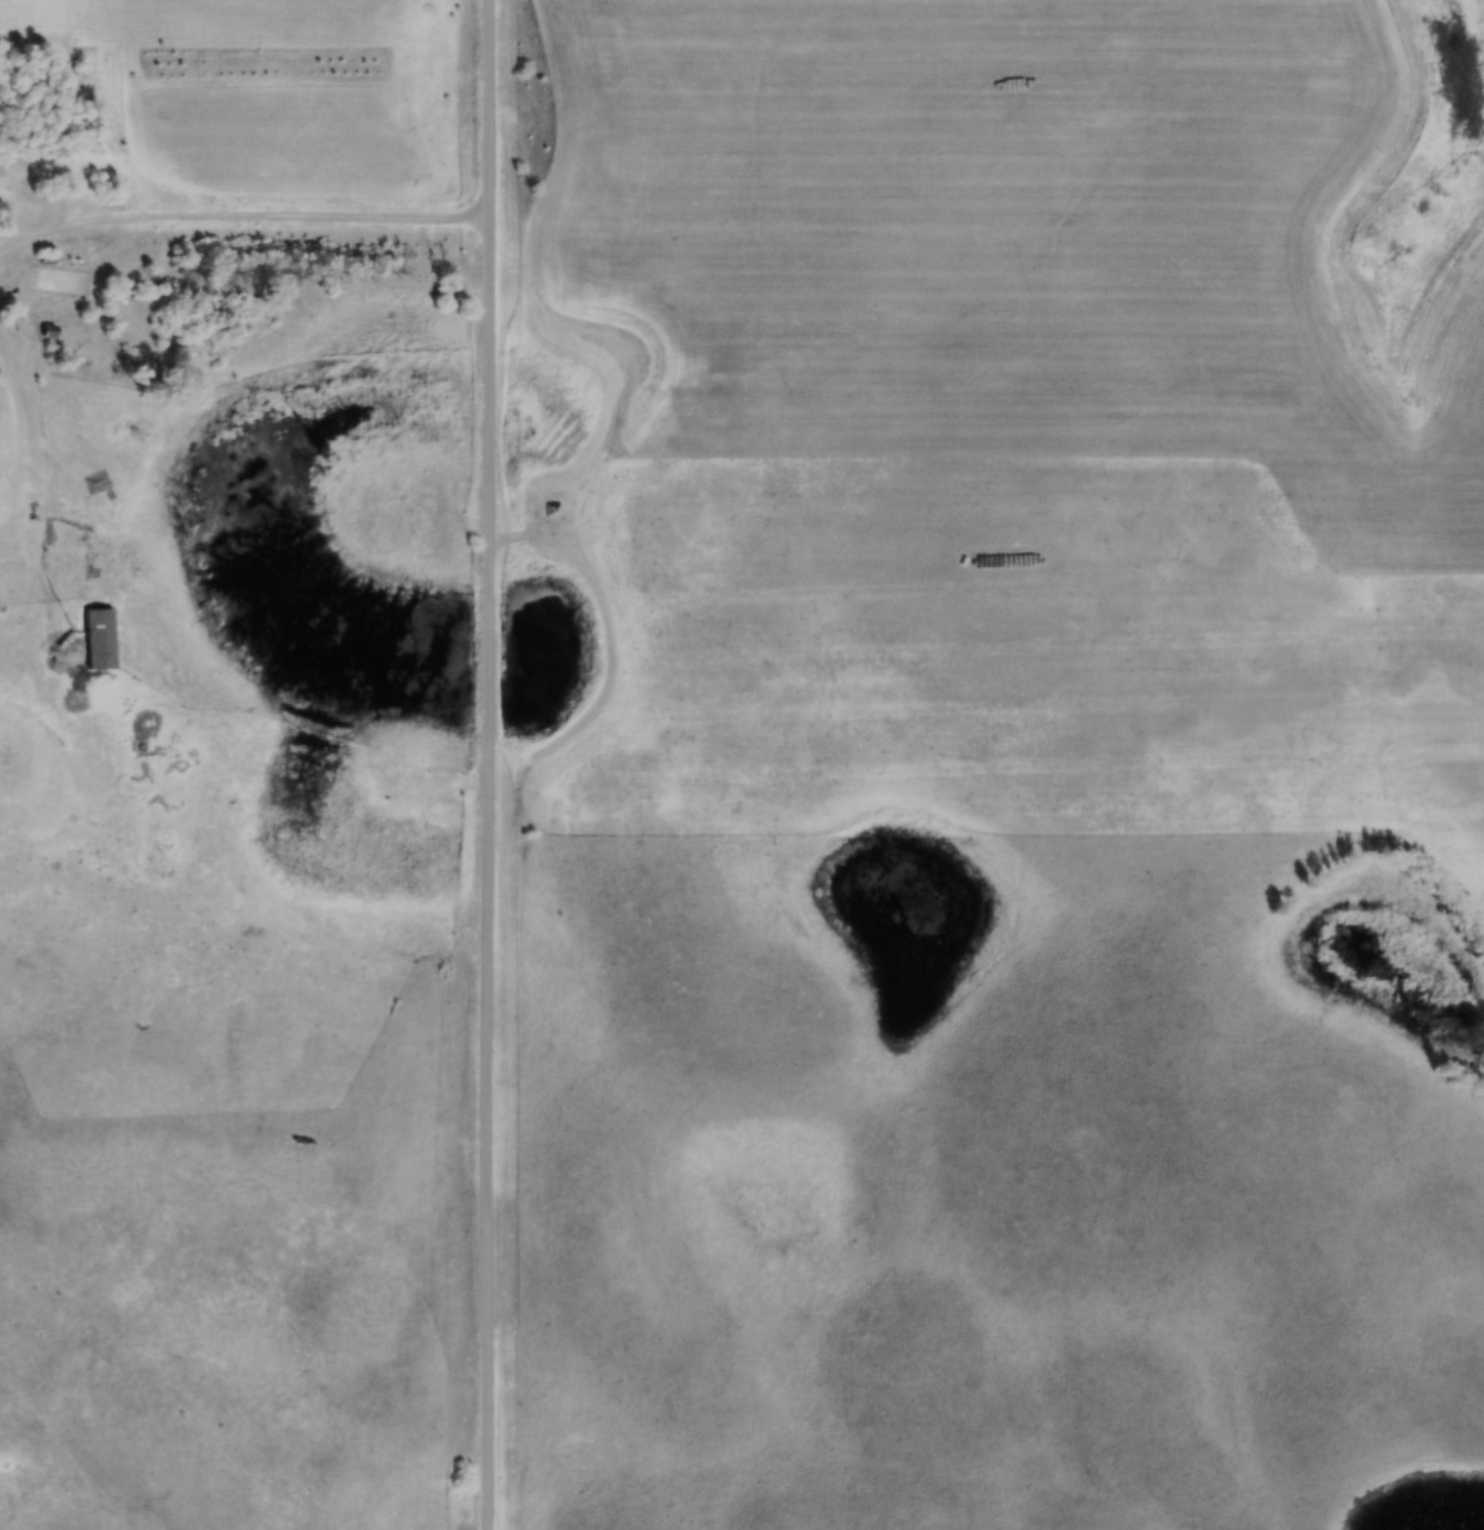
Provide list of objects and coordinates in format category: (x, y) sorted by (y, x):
building: (1, 212)
road: (240, 221)
road: (10, 498)
building: (65, 537)
building: (99, 640)
road: (483, 764)

